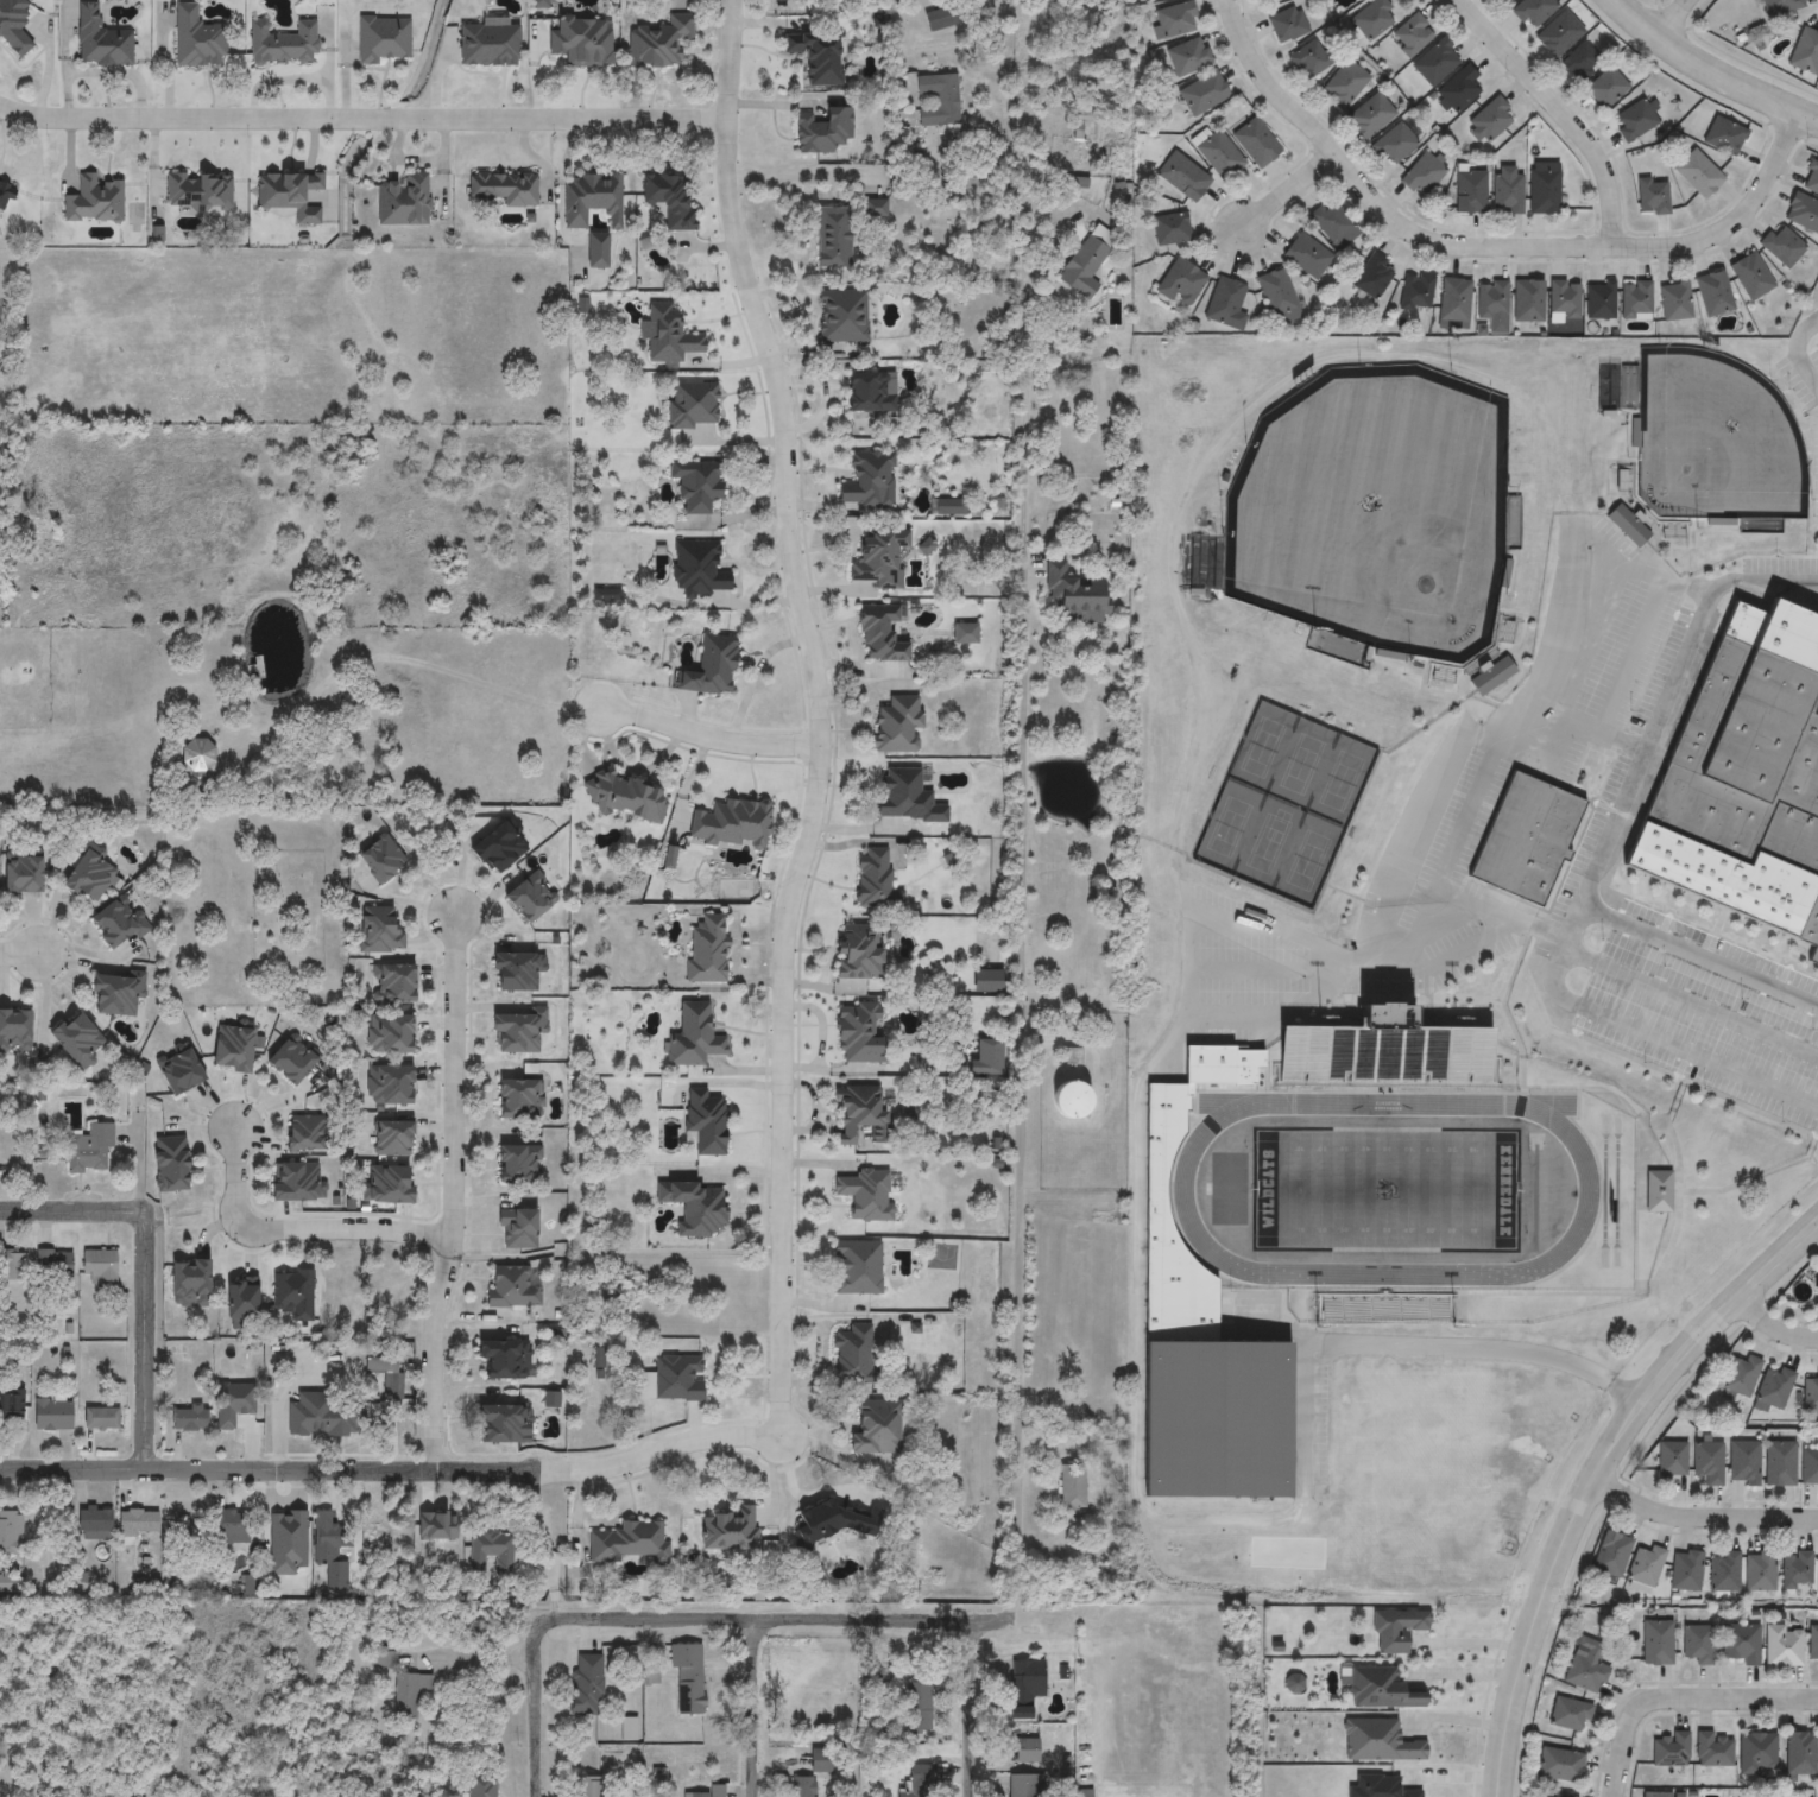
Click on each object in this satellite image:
building: (1508, 1)
building: (1780, 6)
building: (1533, 12)
building: (941, 14)
building: (1374, 18)
building: (1174, 20)
road: (1683, 20)
building: (13, 24)
building: (1287, 25)
building: (1412, 34)
building: (1559, 34)
building: (196, 36)
building: (100, 37)
building: (384, 37)
building: (581, 39)
building: (283, 40)
building: (657, 40)
building: (488, 43)
building: (1805, 51)
building: (815, 52)
building: (1188, 57)
building: (1309, 59)
building: (1437, 62)
building: (1580, 62)
road: (1698, 64)
building: (1345, 84)
building: (1606, 88)
building: (1460, 89)
building: (1202, 93)
building: (938, 96)
building: (1370, 115)
road: (1563, 115)
road: (1806, 116)
road: (365, 118)
building: (1490, 120)
building: (1635, 120)
building: (821, 128)
building: (1724, 135)
building: (1256, 143)
building: (1394, 144)
building: (1220, 156)
building: (1698, 173)
building: (1422, 175)
building: (1183, 176)
road: (846, 177)
building: (1811, 178)
building: (504, 186)
building: (1544, 188)
building: (197, 189)
building: (289, 191)
building: (4, 192)
building: (1470, 192)
building: (1507, 194)
building: (592, 196)
building: (1652, 196)
building: (94, 197)
building: (403, 197)
building: (668, 197)
road: (1290, 197)
building: (1803, 211)
building: (1333, 224)
building: (1170, 228)
building: (832, 235)
building: (1782, 246)
building: (596, 247)
building: (1306, 255)
road: (1488, 255)
building: (1087, 264)
building: (1750, 274)
building: (1374, 276)
building: (1181, 284)
building: (1416, 292)
building: (1713, 293)
building: (1277, 297)
building: (1565, 298)
building: (1454, 300)
building: (1529, 300)
building: (1599, 300)
building: (1636, 300)
building: (1675, 300)
building: (1224, 302)
building: (1492, 306)
building: (842, 314)
building: (668, 333)
road: (1795, 357)
building: (869, 391)
building: (692, 403)
building: (866, 476)
building: (697, 481)
building: (1629, 526)
building: (877, 555)
building: (699, 568)
building: (1075, 597)
building: (879, 632)
building: (709, 665)
building: (1492, 677)
road: (711, 722)
building: (897, 722)
park: (1262, 747)
building: (197, 757)
park: (1300, 764)
road: (1633, 768)
building: (1747, 778)
park: (1340, 780)
building: (901, 791)
building: (626, 797)
road: (820, 797)
building: (731, 821)
park: (1227, 827)
road: (1431, 831)
building: (1526, 837)
park: (1267, 843)
building: (495, 849)
building: (379, 860)
park: (1307, 860)
building: (20, 875)
building: (86, 875)
building: (875, 879)
building: (529, 898)
park: (255, 906)
building: (118, 922)
building: (377, 931)
building: (707, 945)
road: (1698, 948)
building: (858, 949)
road: (23, 951)
road: (1024, 964)
building: (515, 973)
building: (392, 985)
building: (114, 994)
road: (1688, 1004)
building: (517, 1029)
building: (14, 1030)
building: (859, 1030)
building: (389, 1034)
building: (694, 1034)
building: (75, 1040)
building: (231, 1050)
building: (1385, 1053)
building: (1073, 1058)
building: (289, 1062)
building: (177, 1072)
building: (387, 1086)
building: (516, 1095)
building: (1071, 1103)
building: (860, 1114)
building: (706, 1119)
building: (303, 1134)
building: (391, 1139)
building: (88, 1150)
building: (169, 1164)
building: (517, 1165)
building: (296, 1183)
building: (386, 1185)
park: (1385, 1189)
track: (1587, 1189)
building: (864, 1192)
road: (452, 1194)
building: (1659, 1194)
building: (693, 1204)
road: (69, 1209)
road: (299, 1226)
building: (1479, 1229)
building: (518, 1230)
building: (53, 1264)
building: (11, 1265)
building: (857, 1265)
building: (97, 1266)
building: (188, 1284)
building: (511, 1287)
building: (1816, 1290)
building: (291, 1295)
building: (239, 1301)
road: (1772, 1329)
road: (147, 1339)
building: (852, 1352)
building: (1201, 1359)
building: (503, 1360)
building: (384, 1373)
building: (1740, 1374)
building: (673, 1377)
building: (1773, 1386)
building: (1811, 1393)
road: (1136, 1398)
building: (11, 1403)
building: (51, 1415)
building: (100, 1417)
building: (188, 1418)
building: (503, 1424)
building: (876, 1424)
building: (1668, 1459)
building: (1706, 1461)
building: (1742, 1462)
building: (1778, 1462)
building: (1808, 1466)
road: (315, 1469)
road: (1593, 1474)
building: (1073, 1489)
road: (1700, 1519)
building: (135, 1521)
building: (93, 1524)
building: (229, 1526)
building: (730, 1526)
building: (10, 1533)
building: (327, 1537)
building: (629, 1538)
building: (1610, 1552)
building: (488, 1554)
building: (1645, 1564)
building: (1795, 1567)
building: (1685, 1569)
building: (1759, 1569)
building: (1724, 1570)
building: (1817, 1573)
road: (730, 1621)
building: (1397, 1630)
building: (1655, 1640)
road: (1471, 1641)
building: (1738, 1641)
building: (1812, 1641)
building: (1697, 1643)
building: (1782, 1645)
road: (474, 1658)
building: (381, 1660)
building: (1585, 1664)
road: (1467, 1673)
building: (687, 1675)
building: (586, 1684)
building: (1022, 1685)
building: (1382, 1688)
building: (406, 1694)
building: (917, 1704)
road: (1685, 1706)
road: (753, 1708)
road: (972, 1711)
building: (1568, 1714)
road: (535, 1740)
building: (1380, 1740)
building: (1668, 1748)
building: (1025, 1749)
building: (1713, 1749)
building: (1756, 1752)
building: (1799, 1752)
building: (821, 1760)
building: (1559, 1764)
building: (919, 1780)
building: (479, 1785)
building: (1023, 1785)
building: (587, 1786)
building: (801, 1786)
building: (717, 1789)
building: (1555, 1796)

